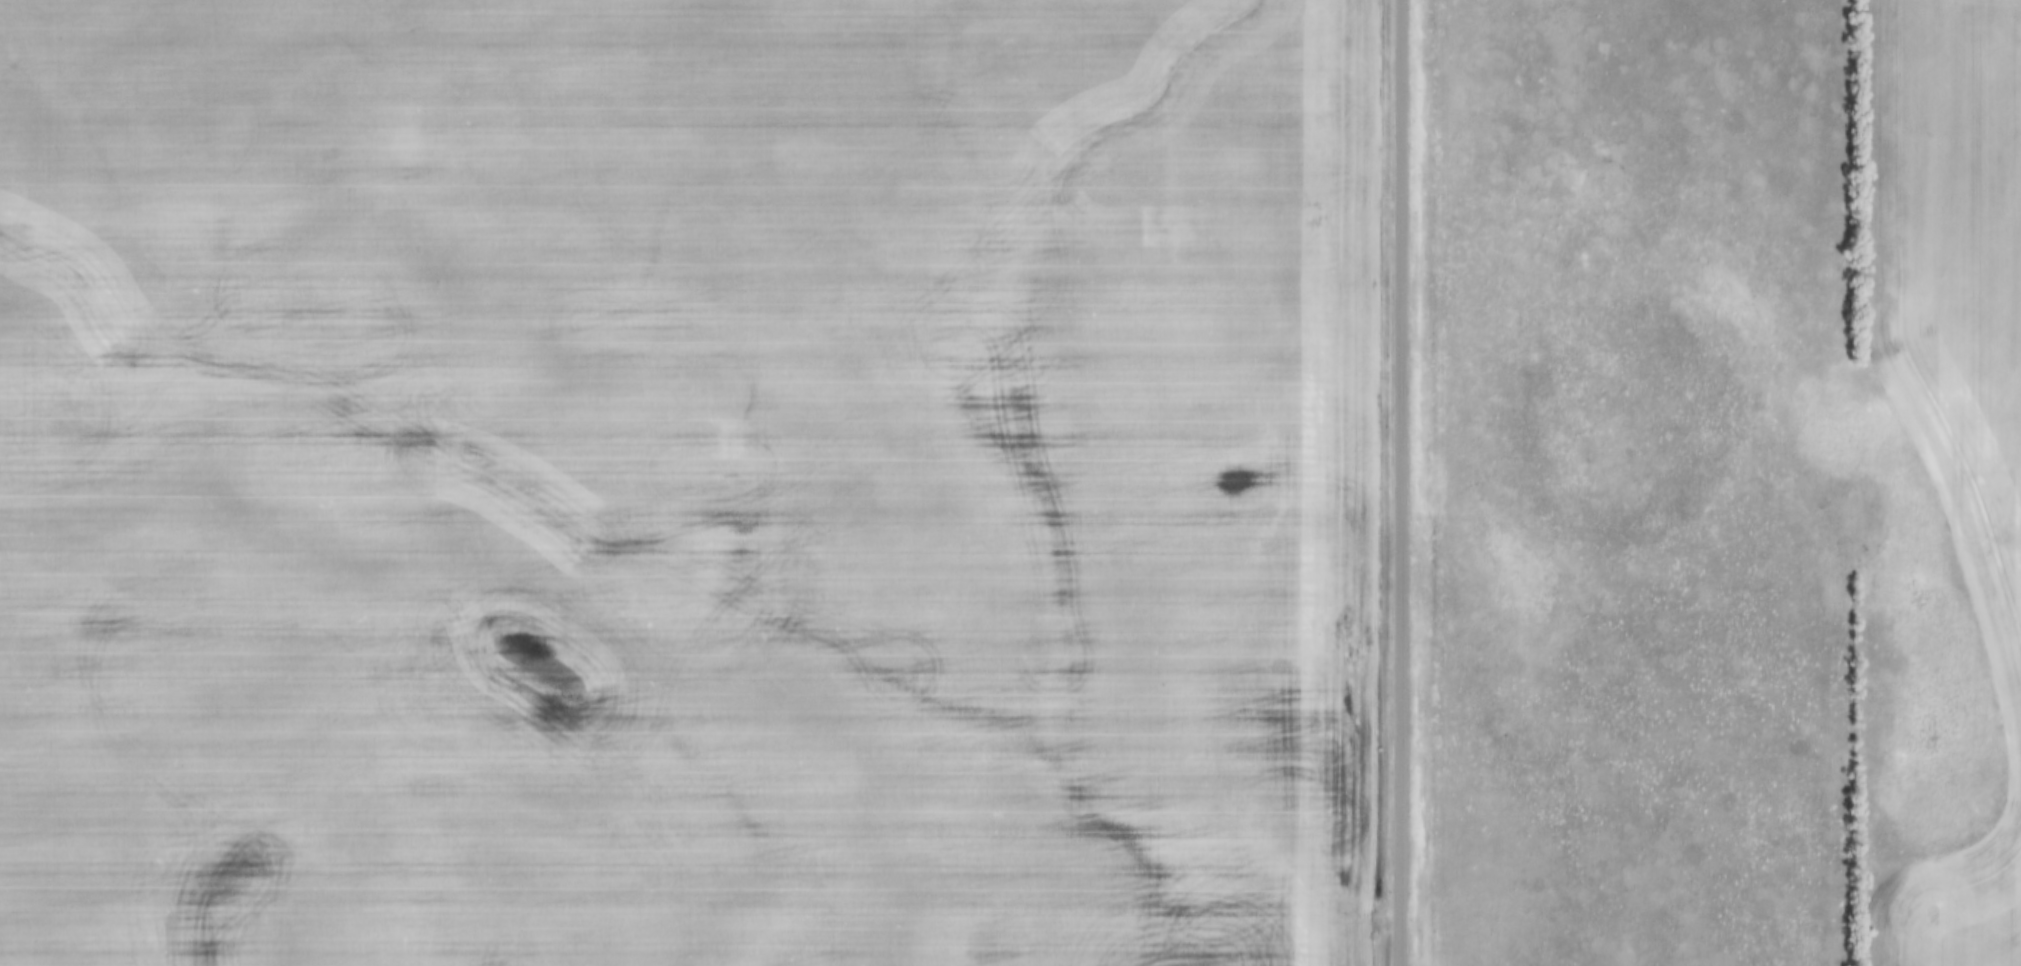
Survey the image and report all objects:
road: (1404, 482)

